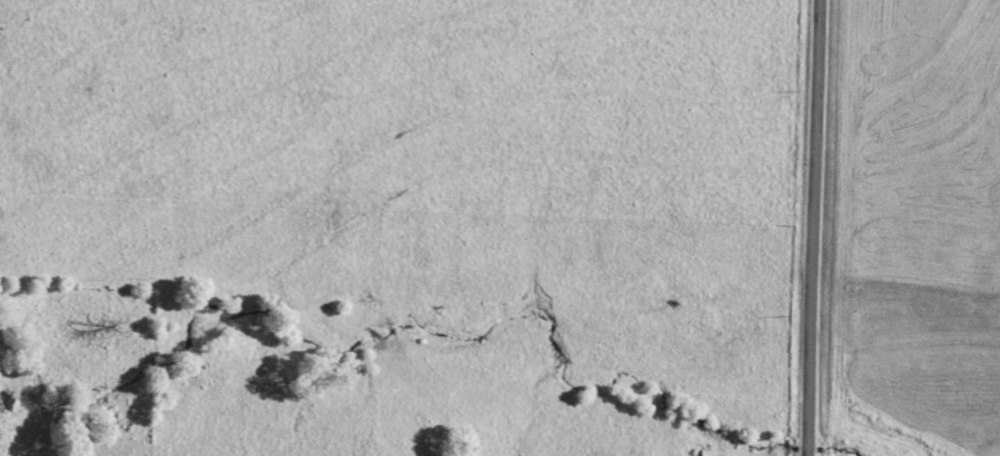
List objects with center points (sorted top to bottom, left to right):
road: (811, 227)

